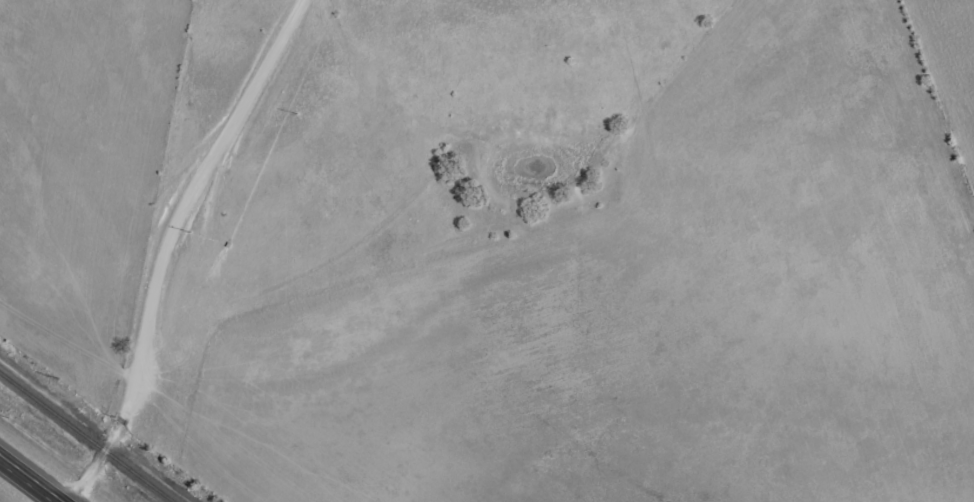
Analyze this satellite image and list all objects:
road: (167, 242)
railway: (86, 437)
road: (30, 479)

